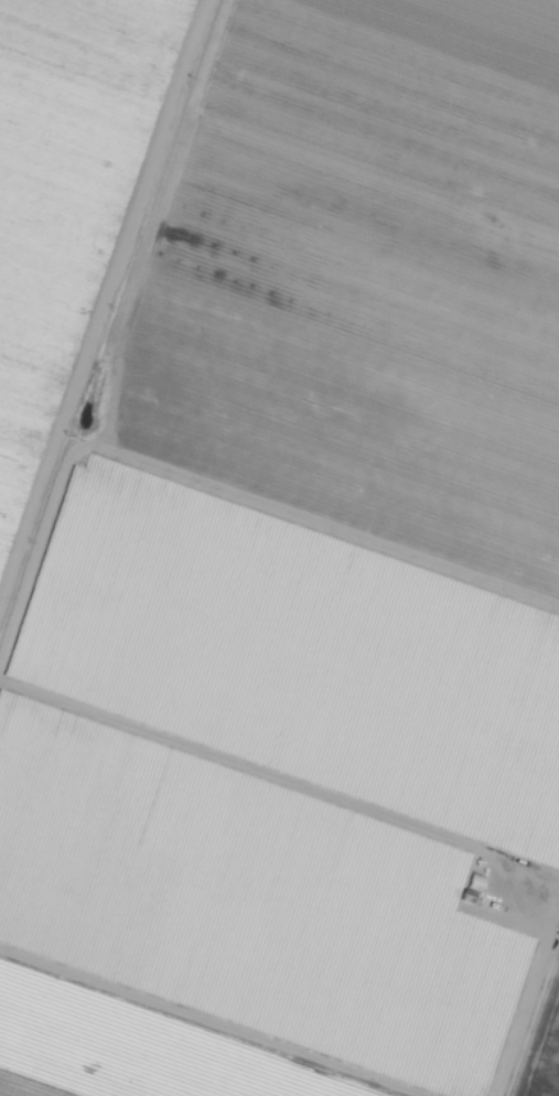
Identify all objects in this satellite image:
crop: (66, 201)
crop: (305, 591)
building: (503, 890)
building: (470, 896)
crop: (542, 1047)

